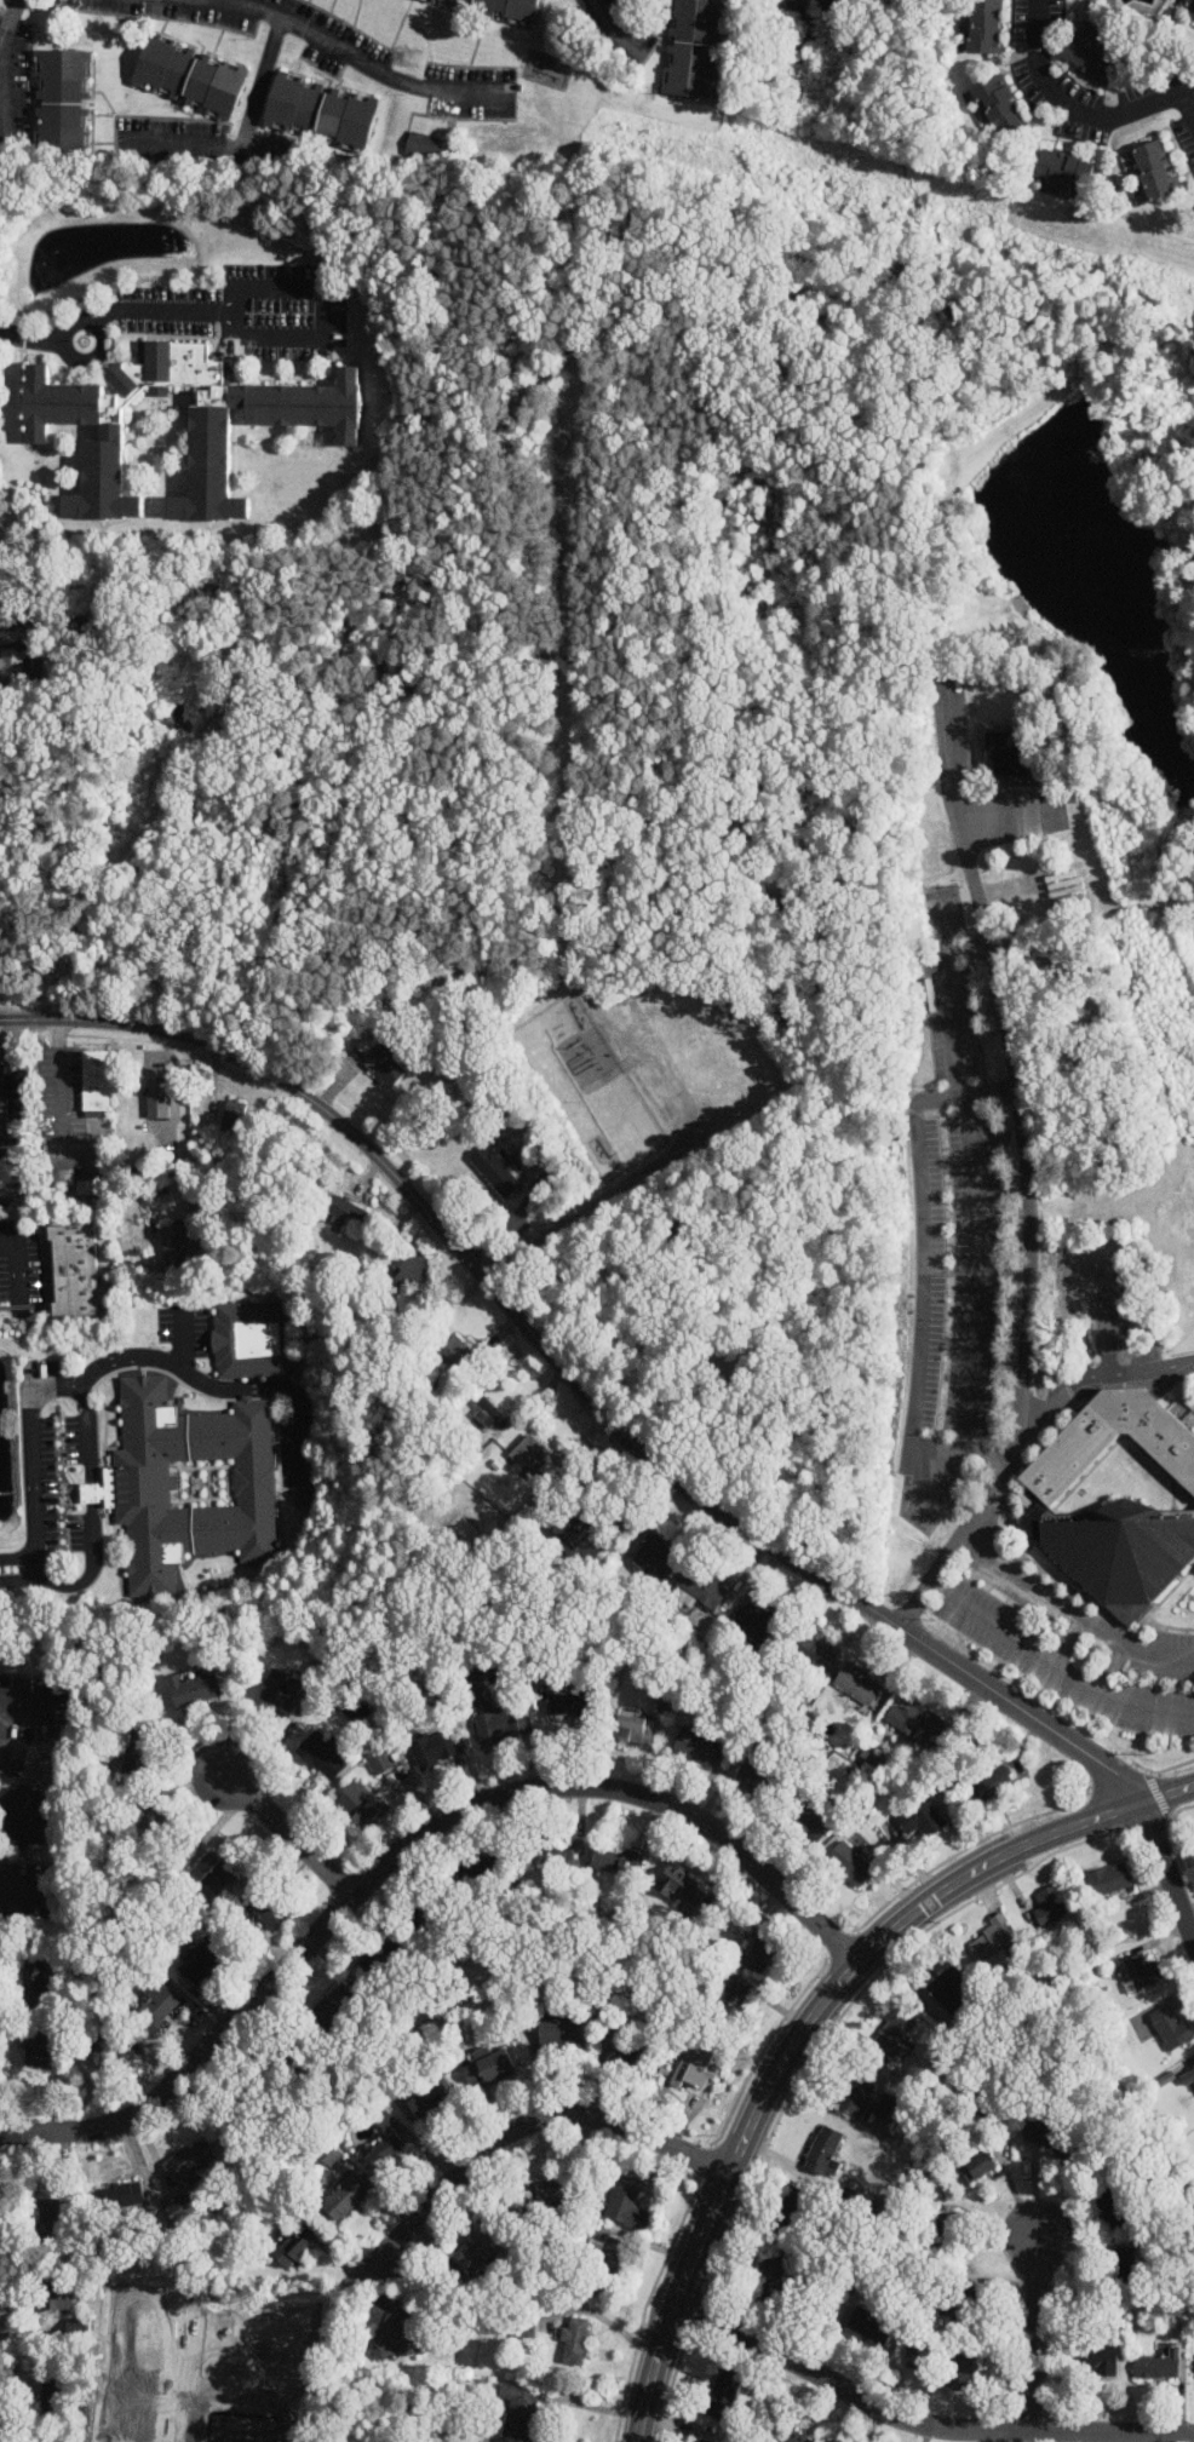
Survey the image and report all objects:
building: (878, 0)
building: (1190, 7)
building: (504, 10)
road: (609, 25)
building: (983, 27)
building: (690, 48)
building: (1090, 56)
power tower: (414, 59)
road: (363, 62)
road: (5, 70)
building: (188, 75)
road: (260, 81)
building: (997, 107)
road: (1079, 107)
building: (62, 108)
road: (1187, 108)
building: (320, 110)
road: (202, 143)
building: (421, 143)
building: (1154, 169)
building: (1063, 173)
road: (323, 310)
road: (109, 311)
building: (328, 430)
building: (10, 662)
building: (180, 717)
building: (1006, 754)
road: (949, 1004)
road: (1008, 1051)
building: (385, 1065)
road: (58, 1075)
building: (94, 1080)
building: (15, 1097)
building: (157, 1098)
building: (234, 1115)
building: (494, 1172)
building: (58, 1176)
building: (346, 1211)
building: (174, 1246)
building: (411, 1266)
road: (16, 1268)
road: (922, 1269)
road: (975, 1270)
building: (76, 1271)
road: (183, 1340)
building: (251, 1340)
building: (457, 1356)
road: (104, 1361)
road: (1123, 1371)
building: (487, 1413)
road: (622, 1433)
building: (529, 1453)
building: (190, 1483)
road: (989, 1484)
building: (306, 1498)
building: (1114, 1498)
road: (90, 1499)
building: (576, 1538)
building: (655, 1556)
road: (29, 1567)
road: (41, 1574)
building: (700, 1587)
road: (1069, 1611)
building: (756, 1625)
road: (1066, 1641)
building: (810, 1649)
road: (1032, 1649)
road: (1110, 1667)
building: (857, 1683)
building: (195, 1689)
building: (280, 1689)
building: (570, 1705)
building: (355, 1708)
road: (24, 1712)
building: (490, 1712)
building: (913, 1724)
building: (635, 1729)
building: (696, 1746)
building: (434, 1749)
building: (136, 1752)
building: (322, 1754)
building: (377, 1760)
building: (759, 1772)
building: (989, 1783)
building: (33, 1800)
building: (357, 1806)
building: (808, 1821)
building: (920, 1821)
building: (154, 1826)
road: (294, 1835)
road: (407, 1854)
building: (556, 1856)
building: (614, 1860)
building: (849, 1864)
building: (481, 1871)
building: (212, 1875)
building: (1108, 1880)
building: (679, 1886)
road: (27, 1891)
building: (263, 1906)
building: (1050, 1906)
building: (421, 1910)
building: (993, 1937)
building: (759, 1952)
building: (201, 1960)
building: (384, 1961)
building: (363, 1965)
building: (1140, 1972)
building: (35, 1983)
building: (947, 1992)
building: (728, 2005)
building: (333, 2007)
building: (156, 2009)
road: (810, 2018)
building: (1170, 2028)
building: (559, 2032)
building: (895, 2033)
building: (293, 2046)
building: (31, 2049)
building: (105, 2049)
building: (630, 2061)
building: (696, 2068)
building: (489, 2069)
building: (1192, 2075)
building: (857, 2087)
building: (431, 2099)
building: (251, 2103)
building: (882, 2104)
building: (378, 2115)
road: (533, 2119)
building: (1051, 2134)
building: (823, 2150)
building: (386, 2154)
building: (189, 2162)
building: (977, 2167)
building: (538, 2196)
building: (116, 2197)
building: (345, 2197)
building: (627, 2203)
building: (1112, 2207)
building: (792, 2208)
building: (134, 2214)
building: (50, 2218)
building: (942, 2233)
building: (291, 2246)
building: (480, 2248)
building: (609, 2260)
building: (1119, 2265)
building: (768, 2277)
building: (54, 2293)
building: (963, 2305)
building: (872, 2325)
building: (394, 2332)
road: (1037, 2335)
building: (575, 2342)
building: (1093, 2357)
building: (1156, 2366)
building: (896, 2368)
building: (963, 2368)
road: (184, 2375)
building: (723, 2392)
building: (58, 2398)
building: (519, 2411)
road: (920, 2421)
building: (793, 2438)
building: (704, 2441)

